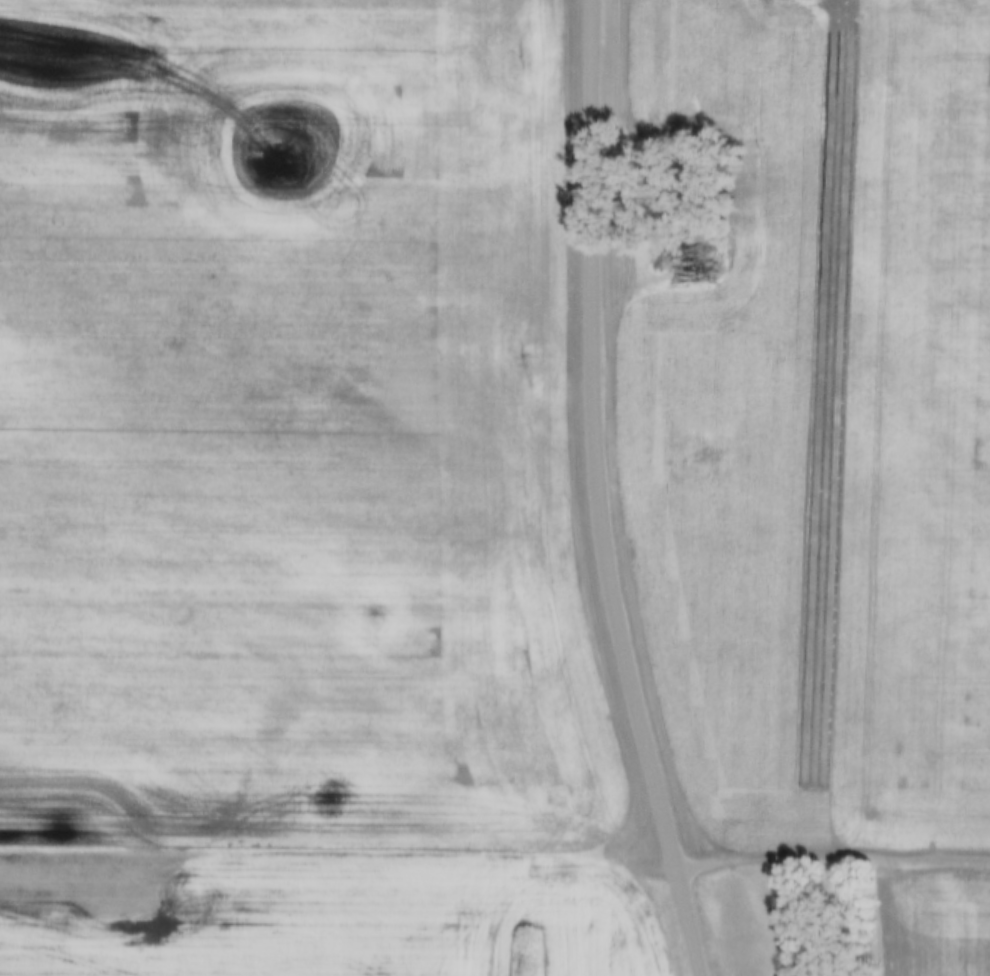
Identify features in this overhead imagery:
road: (593, 494)
road: (831, 850)

